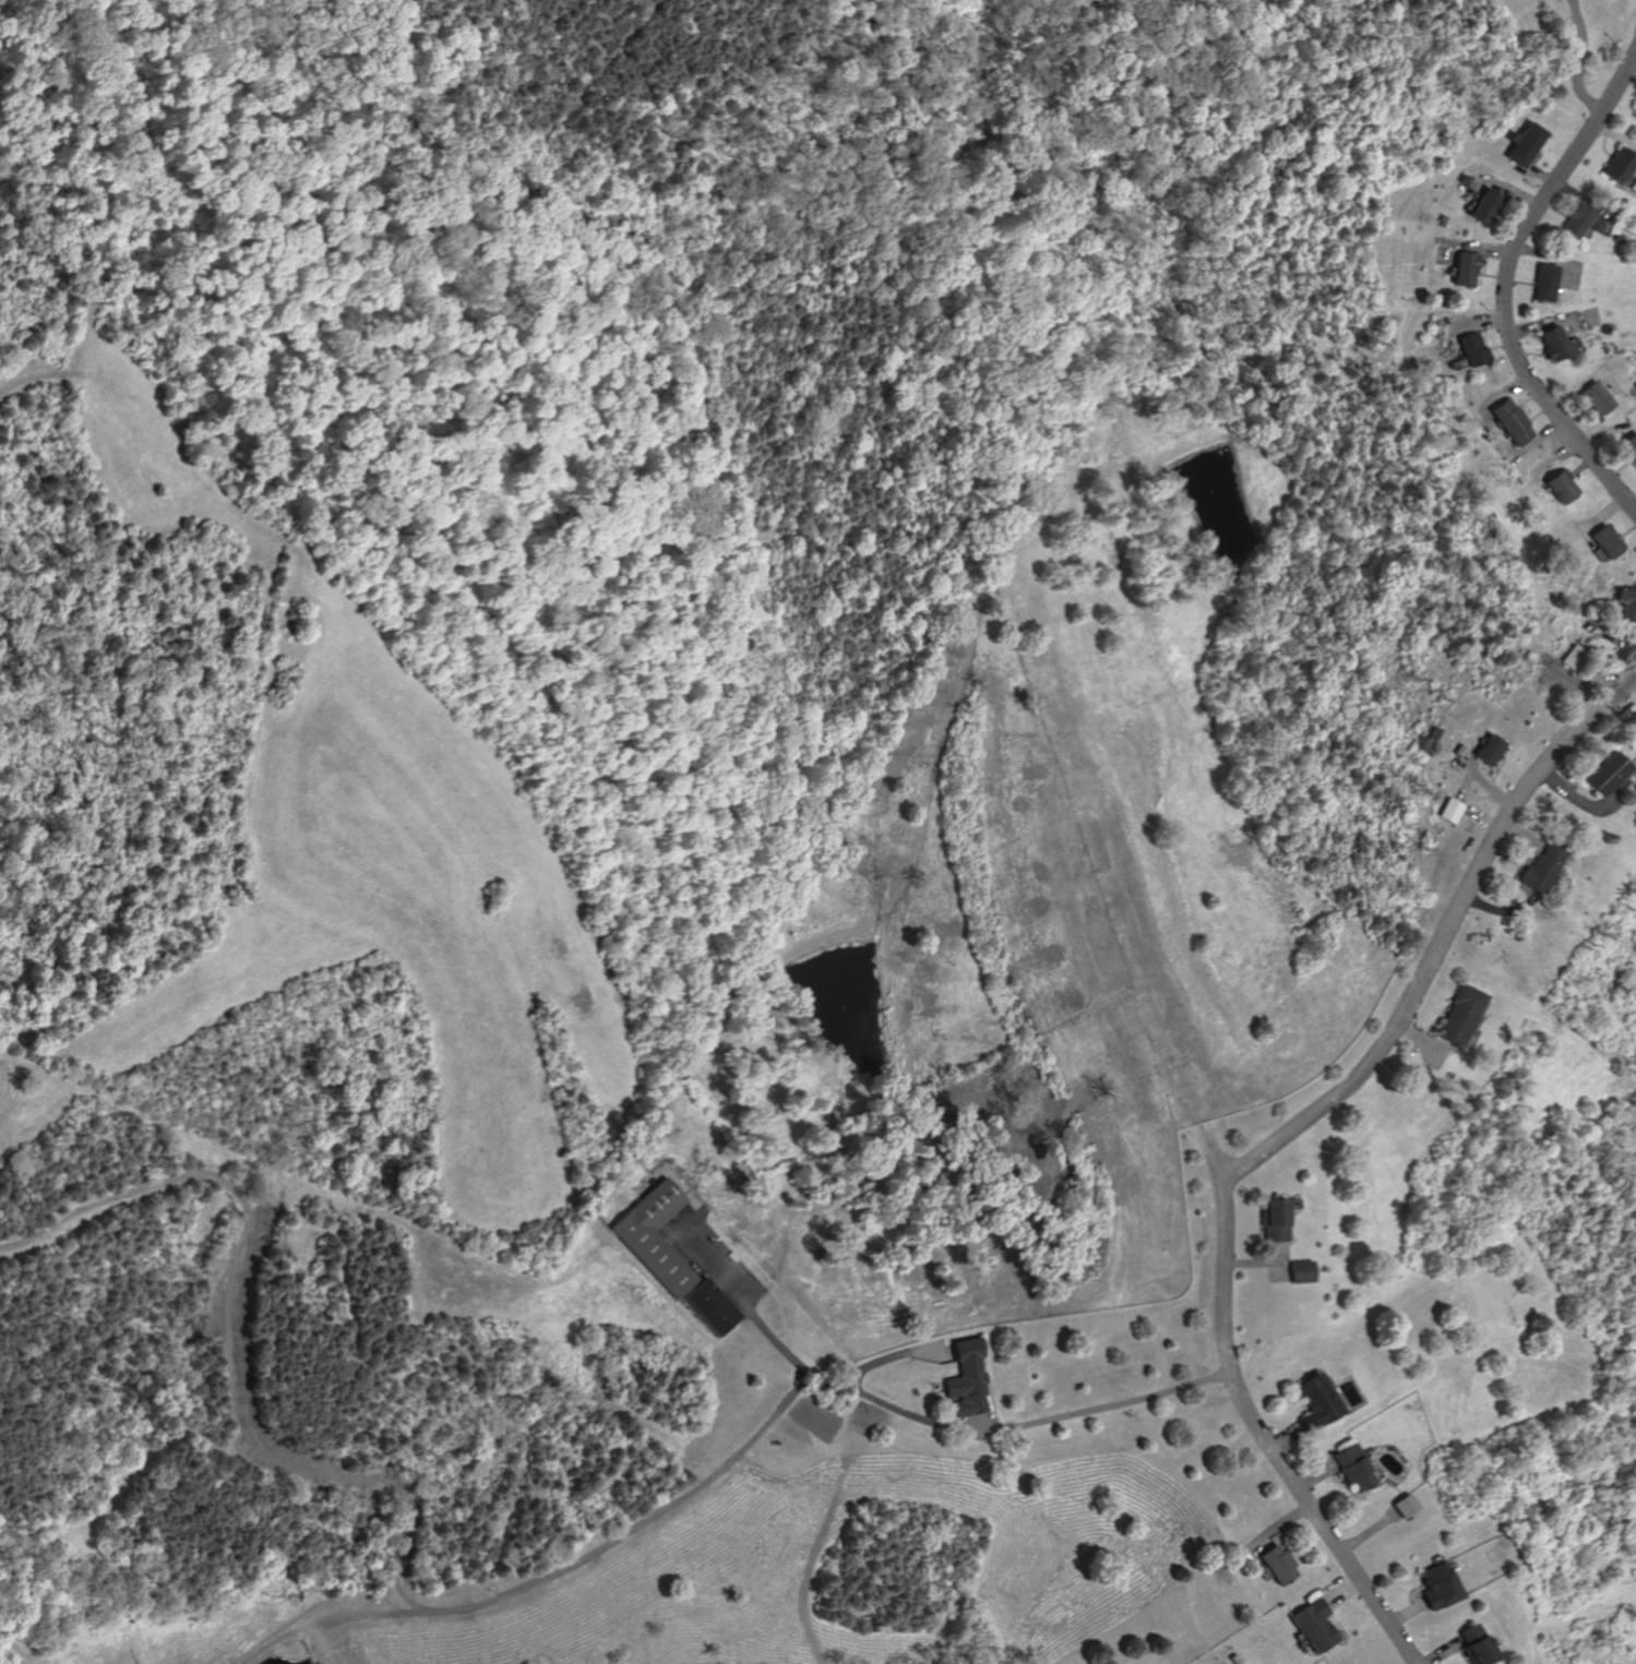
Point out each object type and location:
road: (1576, 60)
building: (1524, 144)
building: (1615, 164)
building: (1481, 205)
building: (1574, 219)
building: (1461, 267)
road: (1503, 280)
building: (1542, 280)
building: (1553, 342)
building: (1470, 348)
building: (1592, 397)
building: (1510, 419)
building: (1628, 447)
building: (1560, 483)
building: (1605, 541)
building: (1627, 606)
building: (1574, 658)
building: (1486, 750)
building: (1603, 773)
building: (1448, 811)
building: (1539, 869)
road: (1440, 935)
building: (1456, 1015)
building: (1273, 1221)
building: (648, 1237)
building: (1299, 1272)
building: (705, 1307)
building: (964, 1381)
building: (1314, 1403)
road: (1253, 1424)
road: (731, 1453)
building: (1349, 1469)
building: (1401, 1506)
building: (1275, 1566)
building: (1434, 1587)
building: (1310, 1627)
building: (1470, 1645)

